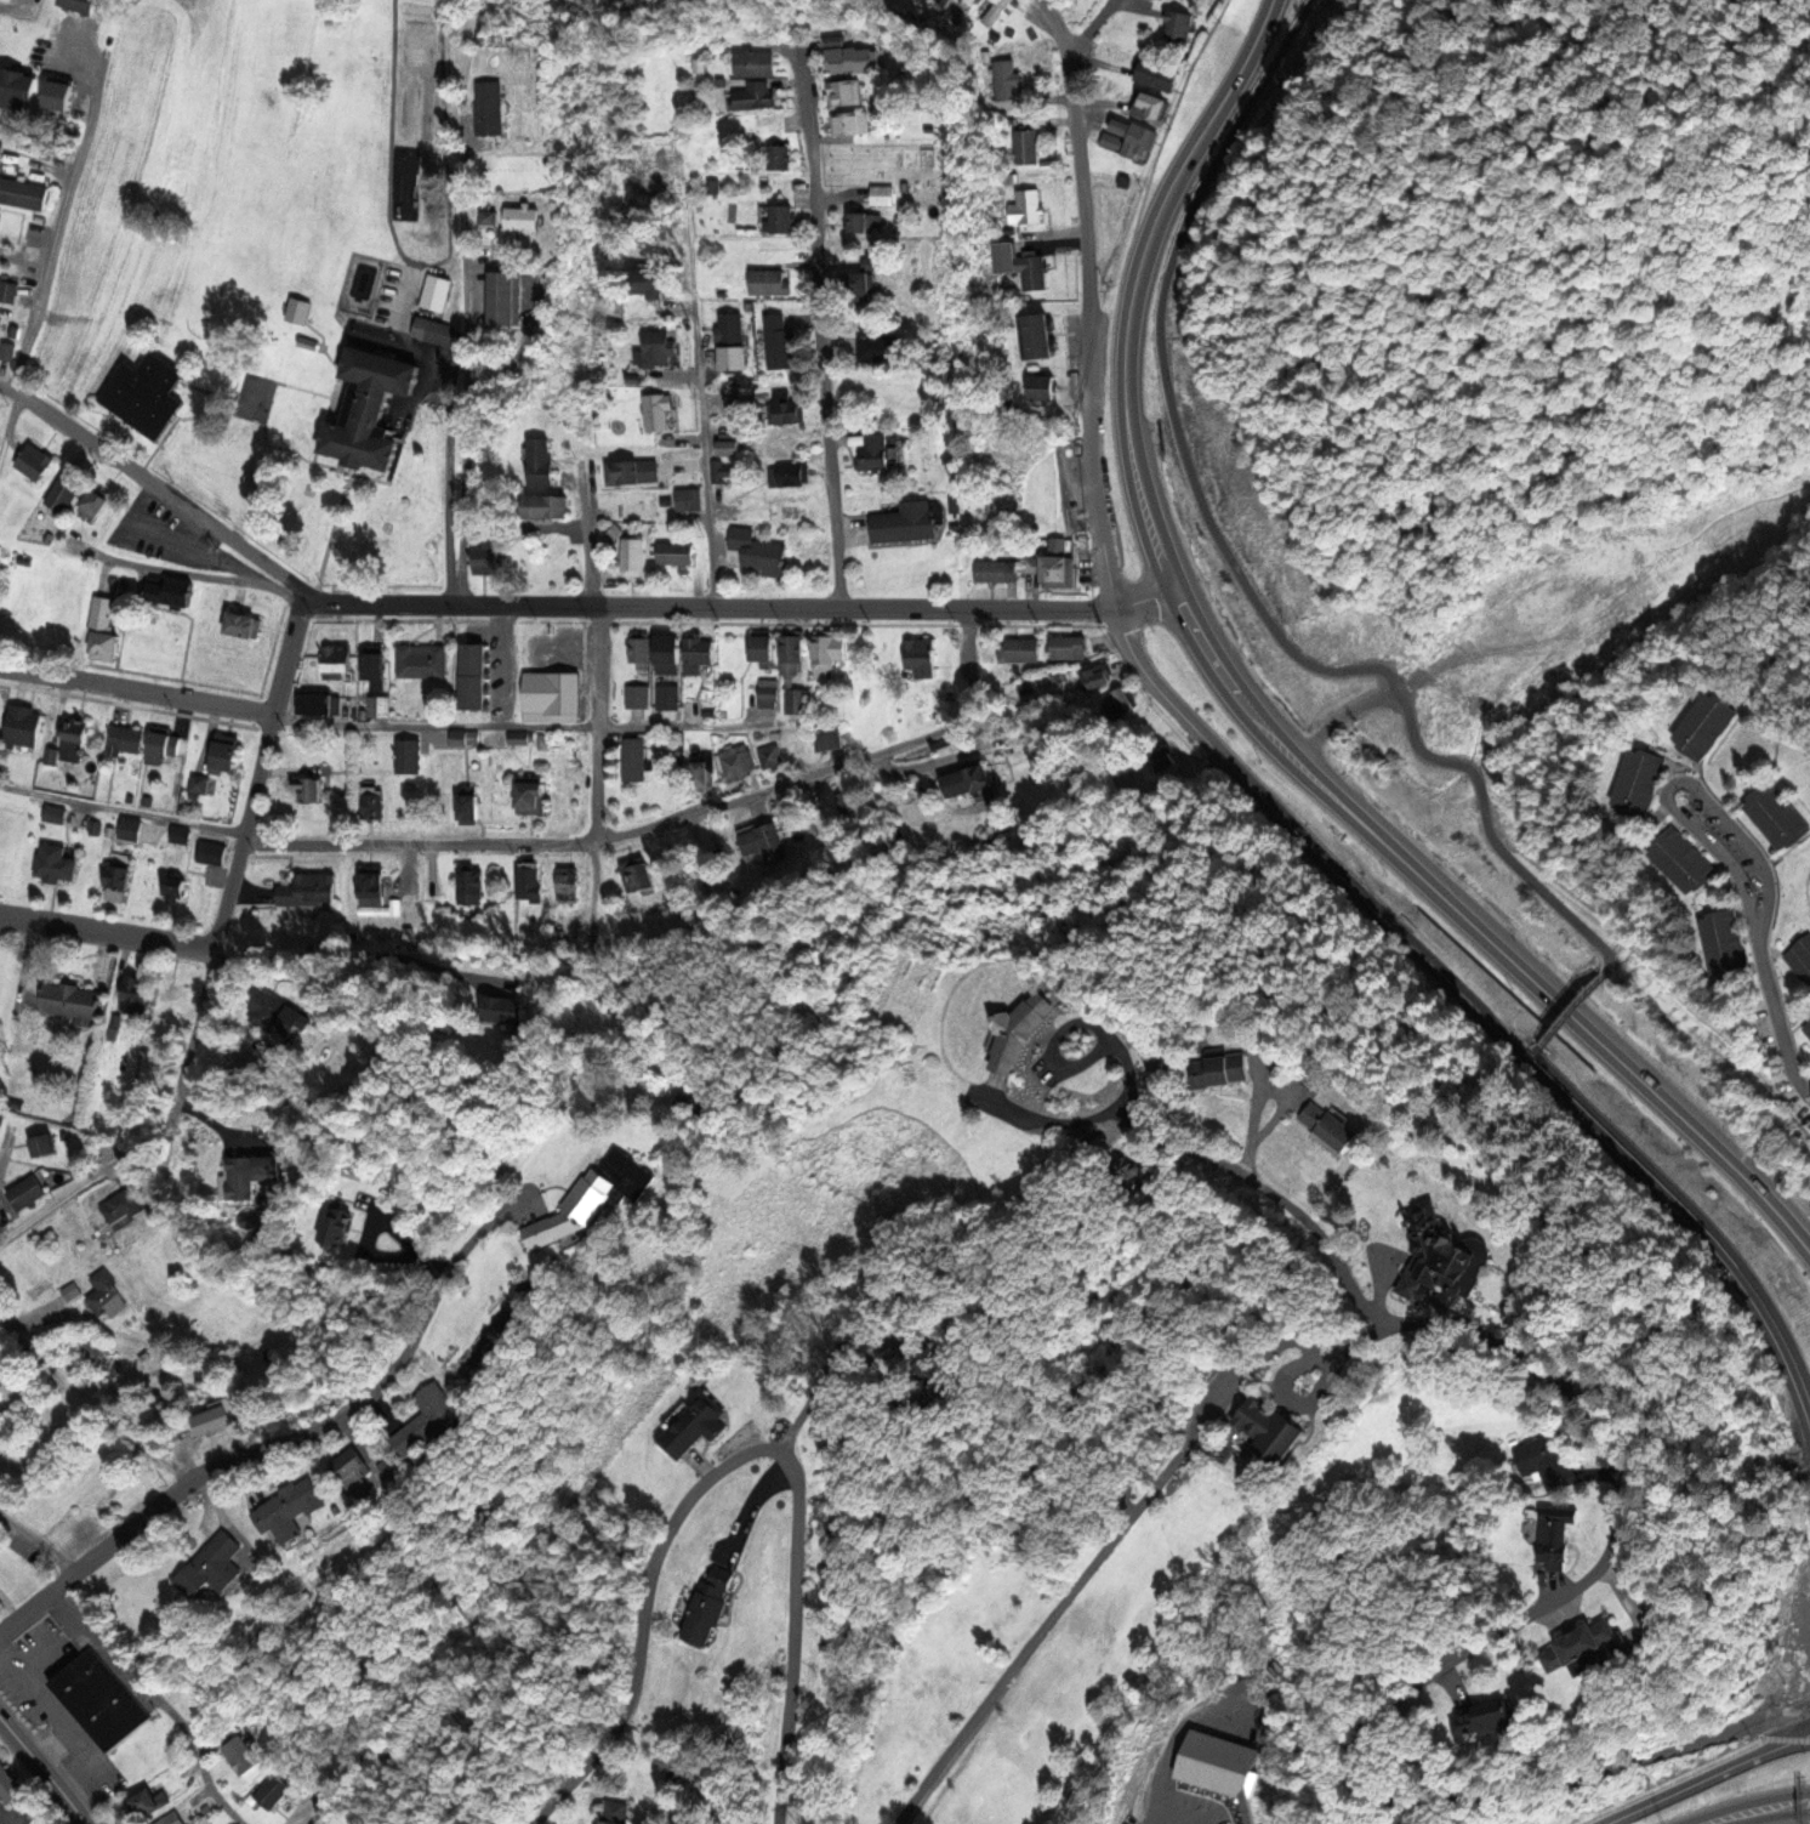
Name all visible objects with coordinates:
building: (81, 5)
building: (995, 12)
building: (1179, 25)
road: (1057, 29)
road: (1089, 30)
building: (855, 58)
building: (757, 62)
building: (1156, 73)
building: (1007, 79)
building: (17, 89)
building: (755, 95)
building: (846, 96)
building: (490, 104)
building: (1152, 104)
building: (853, 121)
building: (406, 130)
building: (1128, 138)
building: (1, 140)
building: (1026, 144)
building: (780, 155)
building: (1126, 180)
building: (23, 192)
building: (886, 194)
building: (1026, 206)
building: (0, 214)
building: (489, 216)
building: (523, 217)
building: (781, 220)
building: (859, 221)
road: (52, 251)
building: (1021, 263)
building: (648, 280)
building: (768, 280)
building: (8, 290)
building: (436, 292)
building: (506, 296)
building: (859, 317)
building: (433, 329)
building: (1041, 334)
road: (1089, 335)
road: (819, 336)
building: (733, 339)
building: (779, 341)
building: (656, 347)
building: (6, 350)
building: (1042, 386)
building: (147, 393)
road: (226, 393)
road: (466, 403)
road: (237, 405)
building: (375, 405)
road: (266, 407)
building: (790, 408)
building: (658, 410)
road: (184, 416)
road: (324, 417)
road: (702, 437)
building: (729, 447)
building: (878, 451)
building: (36, 459)
building: (540, 459)
building: (632, 471)
building: (723, 471)
building: (787, 473)
road: (153, 485)
building: (64, 491)
building: (689, 499)
building: (97, 501)
building: (546, 505)
building: (1051, 507)
building: (909, 522)
road: (334, 528)
parking lot: (164, 535)
road: (587, 542)
building: (759, 550)
building: (675, 552)
road: (1228, 557)
building: (486, 558)
building: (633, 558)
building: (1054, 559)
building: (996, 570)
road: (187, 572)
building: (182, 593)
road: (381, 603)
road: (819, 608)
building: (106, 613)
building: (243, 623)
building: (1069, 646)
building: (764, 647)
building: (642, 648)
building: (1024, 649)
building: (704, 652)
building: (668, 654)
building: (793, 654)
building: (830, 654)
building: (922, 657)
building: (422, 660)
building: (336, 664)
building: (374, 665)
building: (474, 675)
building: (1100, 676)
road: (136, 692)
building: (767, 692)
building: (636, 693)
building: (554, 695)
building: (668, 695)
building: (797, 699)
building: (319, 701)
building: (1117, 704)
building: (378, 708)
road: (1250, 716)
road: (597, 722)
building: (23, 725)
road: (524, 728)
building: (1704, 729)
building: (517, 735)
building: (466, 737)
building: (74, 739)
building: (125, 739)
building: (829, 740)
building: (164, 746)
building: (228, 751)
building: (770, 752)
building: (409, 755)
building: (636, 757)
building: (738, 761)
building: (705, 769)
road: (258, 771)
building: (198, 782)
building: (962, 783)
road: (1679, 783)
building: (1641, 786)
building: (308, 789)
building: (533, 794)
building: (843, 802)
building: (371, 807)
building: (468, 807)
building: (55, 811)
road: (121, 813)
building: (1778, 819)
road: (664, 823)
building: (129, 829)
building: (180, 833)
building: (761, 847)
building: (211, 850)
building: (55, 862)
building: (1684, 864)
building: (118, 876)
building: (636, 876)
building: (528, 882)
building: (568, 882)
building: (314, 885)
building: (468, 885)
building: (372, 886)
building: (175, 888)
road: (107, 933)
building: (1725, 944)
building: (1800, 958)
road: (1593, 989)
building: (132, 994)
building: (82, 1004)
building: (169, 1004)
road: (1472, 1006)
building: (281, 1013)
road: (1567, 1017)
building: (1806, 1028)
building: (1021, 1030)
road: (1777, 1030)
road: (192, 1033)
road: (1548, 1036)
road: (1127, 1055)
building: (1225, 1070)
building: (1332, 1125)
building: (45, 1144)
building: (256, 1169)
road: (90, 1182)
building: (25, 1192)
building: (596, 1198)
road: (1273, 1200)
road: (1689, 1201)
building: (124, 1203)
building: (338, 1224)
road: (272, 1248)
building: (1448, 1254)
road: (452, 1261)
building: (69, 1289)
building: (104, 1292)
building: (98, 1356)
road: (93, 1404)
building: (214, 1419)
building: (427, 1419)
road: (1610, 1419)
building: (695, 1424)
road: (304, 1428)
building: (1271, 1430)
road: (733, 1460)
building: (351, 1465)
building: (1556, 1470)
building: (291, 1507)
building: (1569, 1529)
road: (36, 1544)
road: (92, 1559)
building: (214, 1564)
building: (2, 1601)
building: (708, 1612)
building: (1798, 1626)
building: (1598, 1654)
road: (29, 1659)
building: (102, 1699)
road: (159, 1700)
parking lot: (53, 1705)
road: (52, 1716)
building: (1504, 1720)
road: (50, 1746)
building: (241, 1752)
building: (2, 1758)
building: (1216, 1761)
road: (42, 1771)
road: (1692, 1772)
road: (1708, 1779)
building: (10, 1784)
building: (273, 1790)
building: (150, 1801)
parking lot: (1176, 1809)
building: (617, 1811)
road: (1760, 1812)
road: (302, 1816)
building: (171, 1818)

